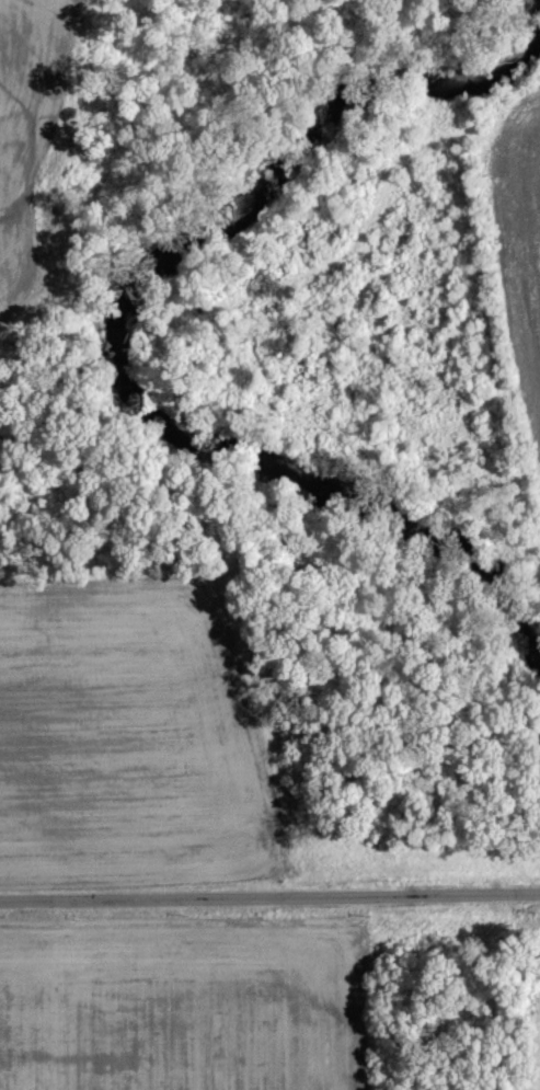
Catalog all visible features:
road: (269, 895)

